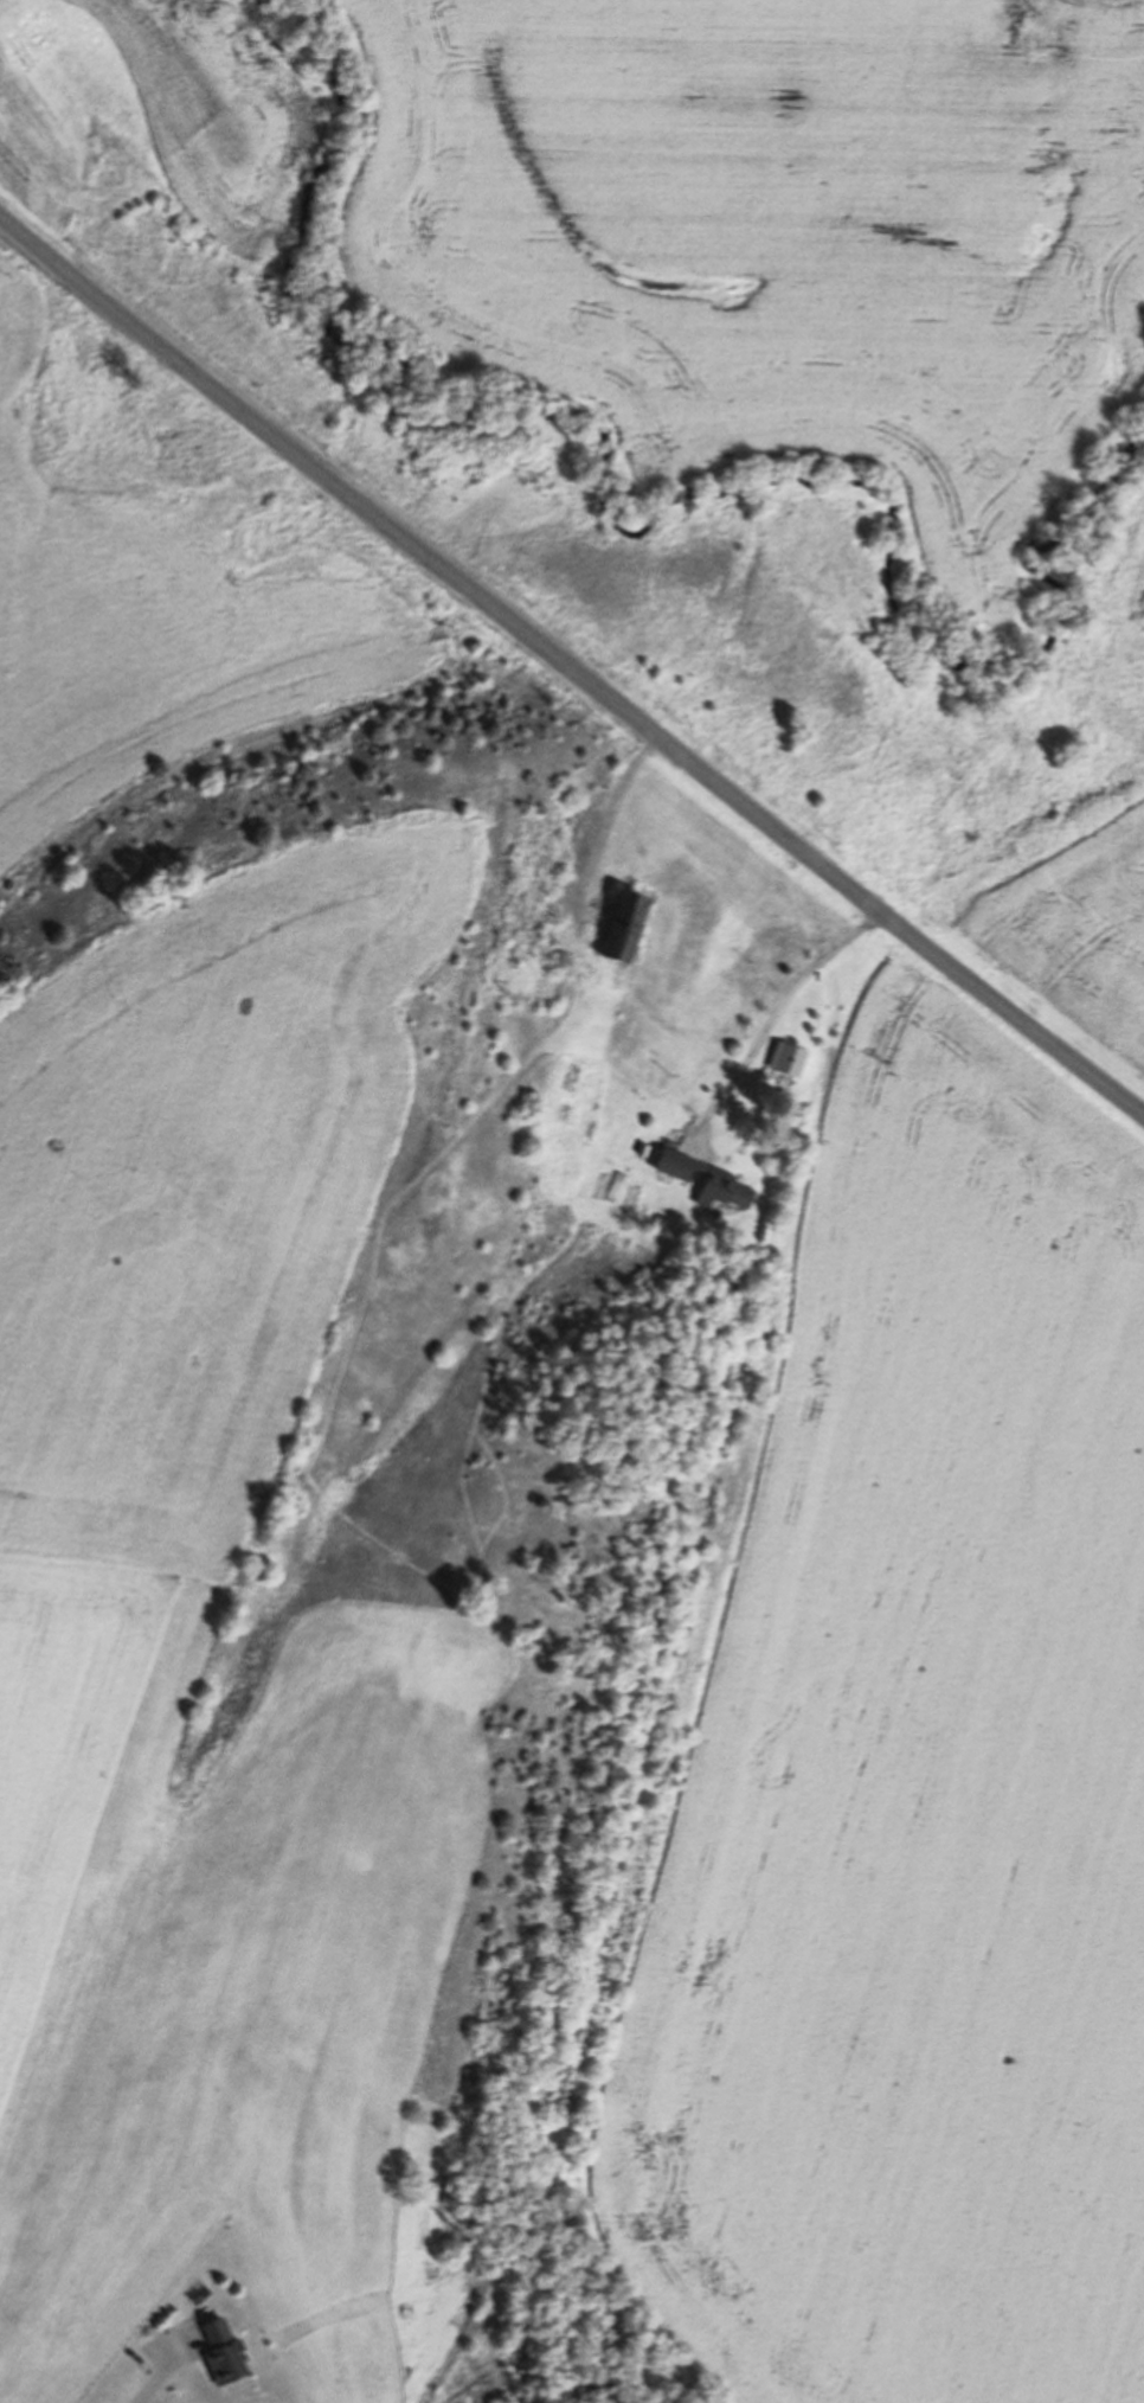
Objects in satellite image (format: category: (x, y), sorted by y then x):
road: (568, 667)
building: (634, 924)
road: (564, 1018)
road: (773, 1019)
building: (796, 1060)
building: (708, 1180)
building: (227, 2353)
road: (159, 2370)

